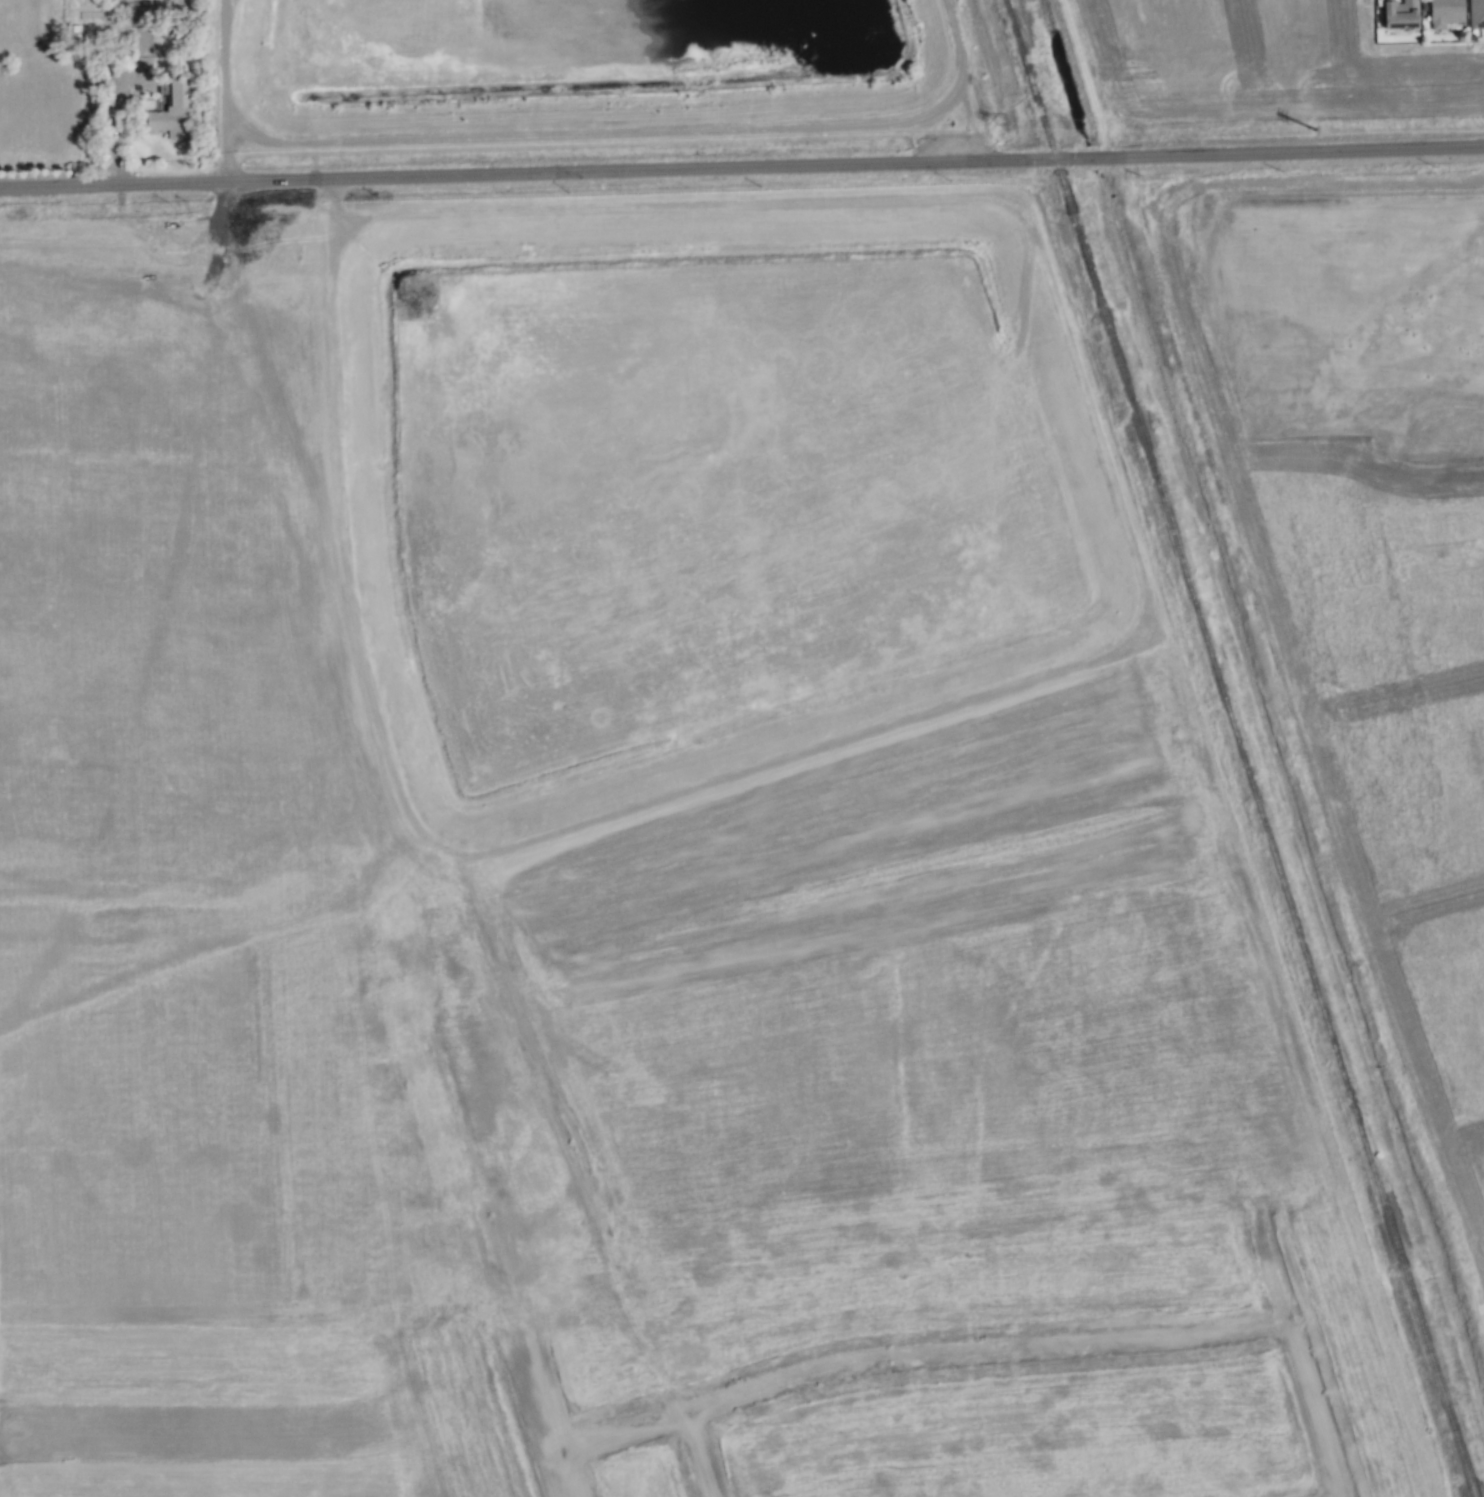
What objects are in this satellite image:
building: (1443, 13)
building: (1475, 14)
building: (1397, 17)
building: (171, 110)
power tower: (1005, 125)
power tower: (1323, 131)
road: (741, 168)
railway: (1234, 733)
railway: (1469, 1481)

